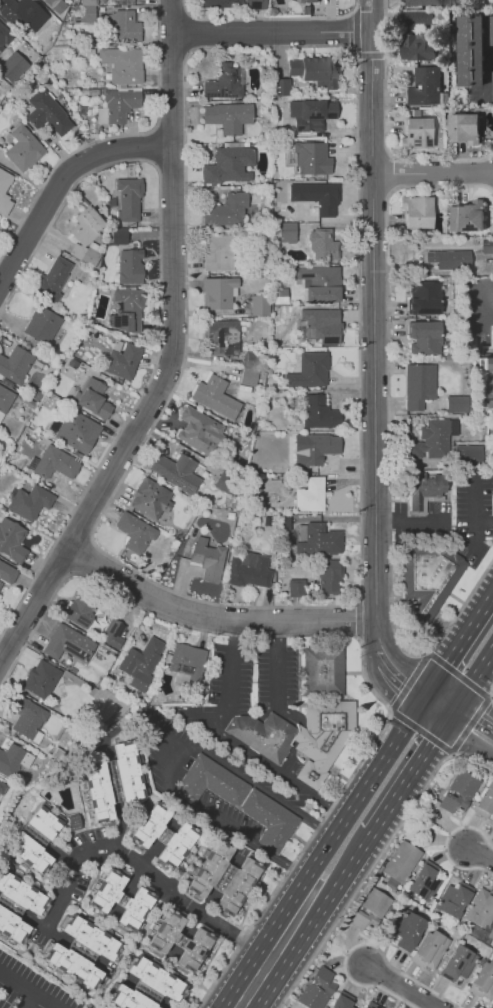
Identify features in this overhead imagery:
building: (310, 1)
building: (127, 2)
building: (424, 2)
building: (89, 3)
building: (222, 4)
building: (255, 4)
building: (59, 6)
building: (18, 11)
building: (87, 13)
road: (176, 16)
road: (269, 17)
building: (418, 17)
building: (123, 27)
building: (492, 30)
road: (188, 31)
road: (274, 31)
road: (353, 31)
building: (5, 34)
building: (418, 45)
building: (471, 49)
road: (369, 55)
road: (490, 58)
building: (123, 64)
building: (13, 67)
building: (314, 71)
building: (223, 82)
building: (424, 85)
building: (280, 86)
building: (121, 104)
building: (48, 113)
building: (311, 114)
building: (229, 115)
building: (463, 126)
road: (169, 127)
road: (387, 129)
building: (417, 132)
road: (112, 135)
road: (154, 145)
building: (24, 148)
building: (311, 157)
road: (169, 164)
building: (230, 166)
road: (434, 176)
road: (60, 187)
building: (4, 195)
building: (326, 199)
building: (129, 200)
building: (227, 210)
building: (417, 211)
building: (465, 216)
building: (86, 226)
building: (286, 232)
building: (118, 236)
building: (325, 244)
building: (487, 245)
building: (87, 251)
building: (218, 253)
building: (448, 258)
building: (129, 265)
building: (52, 279)
building: (319, 283)
building: (218, 292)
building: (424, 297)
road: (160, 303)
building: (260, 305)
road: (487, 308)
building: (128, 309)
road: (490, 312)
road: (375, 319)
building: (41, 324)
building: (321, 324)
building: (222, 337)
building: (424, 337)
building: (123, 360)
building: (251, 360)
building: (487, 363)
building: (16, 364)
road: (171, 369)
building: (309, 370)
building: (262, 375)
building: (248, 377)
building: (421, 384)
building: (216, 397)
building: (4, 399)
building: (92, 399)
building: (458, 403)
building: (318, 412)
building: (77, 430)
building: (198, 430)
road: (388, 438)
building: (436, 438)
building: (317, 448)
building: (467, 454)
building: (55, 462)
building: (176, 472)
building: (226, 483)
building: (424, 487)
building: (310, 494)
building: (151, 498)
building: (31, 501)
road: (473, 513)
parking lot: (474, 513)
road: (410, 521)
parking lot: (421, 521)
road: (483, 522)
building: (135, 532)
building: (318, 539)
building: (12, 540)
road: (82, 555)
building: (209, 561)
building: (249, 572)
building: (7, 573)
building: (330, 577)
building: (428, 577)
road: (146, 578)
building: (295, 587)
building: (81, 610)
road: (213, 613)
road: (358, 617)
building: (112, 633)
road: (359, 638)
building: (68, 644)
road: (459, 644)
road: (277, 659)
building: (187, 661)
building: (140, 663)
road: (393, 672)
parking lot: (254, 677)
road: (410, 678)
building: (42, 679)
road: (471, 682)
road: (492, 692)
traffic signals: (425, 697)
road: (437, 705)
traffic signals: (450, 714)
building: (25, 716)
building: (307, 718)
road: (472, 725)
road: (471, 728)
road: (231, 736)
road: (172, 750)
building: (10, 757)
parking lot: (222, 757)
road: (411, 773)
building: (112, 780)
building: (2, 787)
building: (459, 792)
building: (242, 798)
road: (355, 802)
building: (485, 802)
building: (73, 820)
building: (165, 832)
building: (35, 840)
road: (448, 843)
road: (479, 851)
road: (376, 860)
building: (401, 864)
road: (141, 869)
building: (380, 869)
building: (222, 878)
road: (342, 879)
building: (425, 881)
building: (121, 898)
building: (454, 899)
building: (16, 908)
building: (481, 908)
building: (371, 909)
building: (409, 928)
building: (474, 930)
building: (487, 934)
building: (182, 940)
road: (363, 945)
building: (430, 950)
building: (81, 951)
road: (271, 961)
building: (459, 963)
building: (483, 981)
road: (32, 987)
building: (146, 987)
road: (406, 988)
parking lot: (29, 989)
building: (318, 989)
building: (297, 994)
road: (28, 998)
building: (343, 1000)
building: (373, 1005)
building: (326, 1006)

